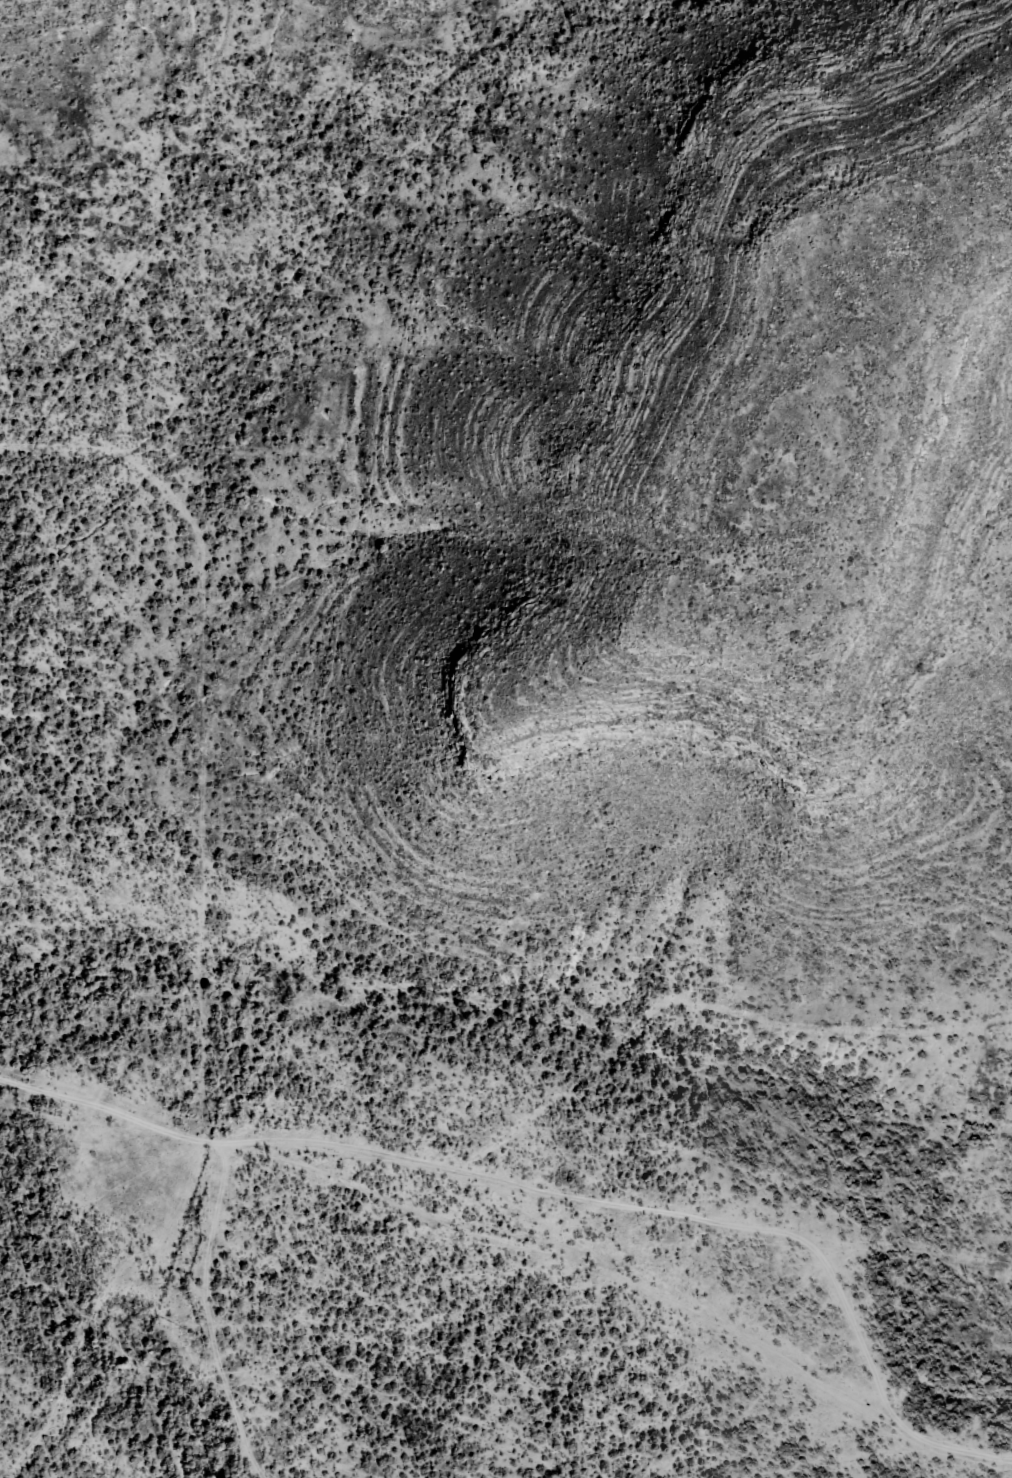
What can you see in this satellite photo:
road: (516, 1254)

